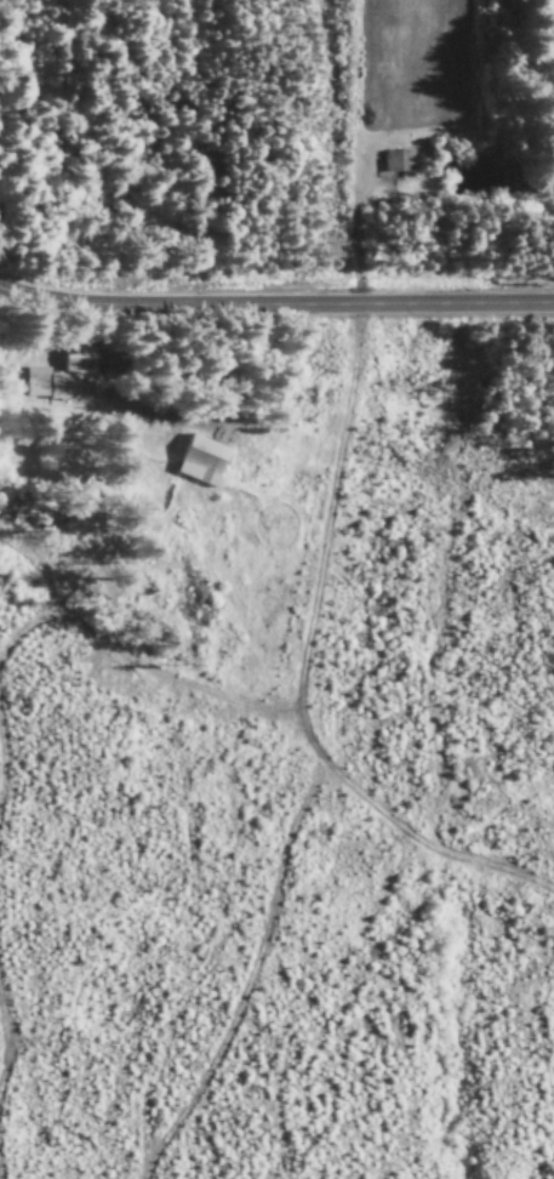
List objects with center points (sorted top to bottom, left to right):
crop: (413, 63)
building: (394, 163)
road: (356, 230)
road: (275, 308)
building: (56, 376)
building: (196, 462)

